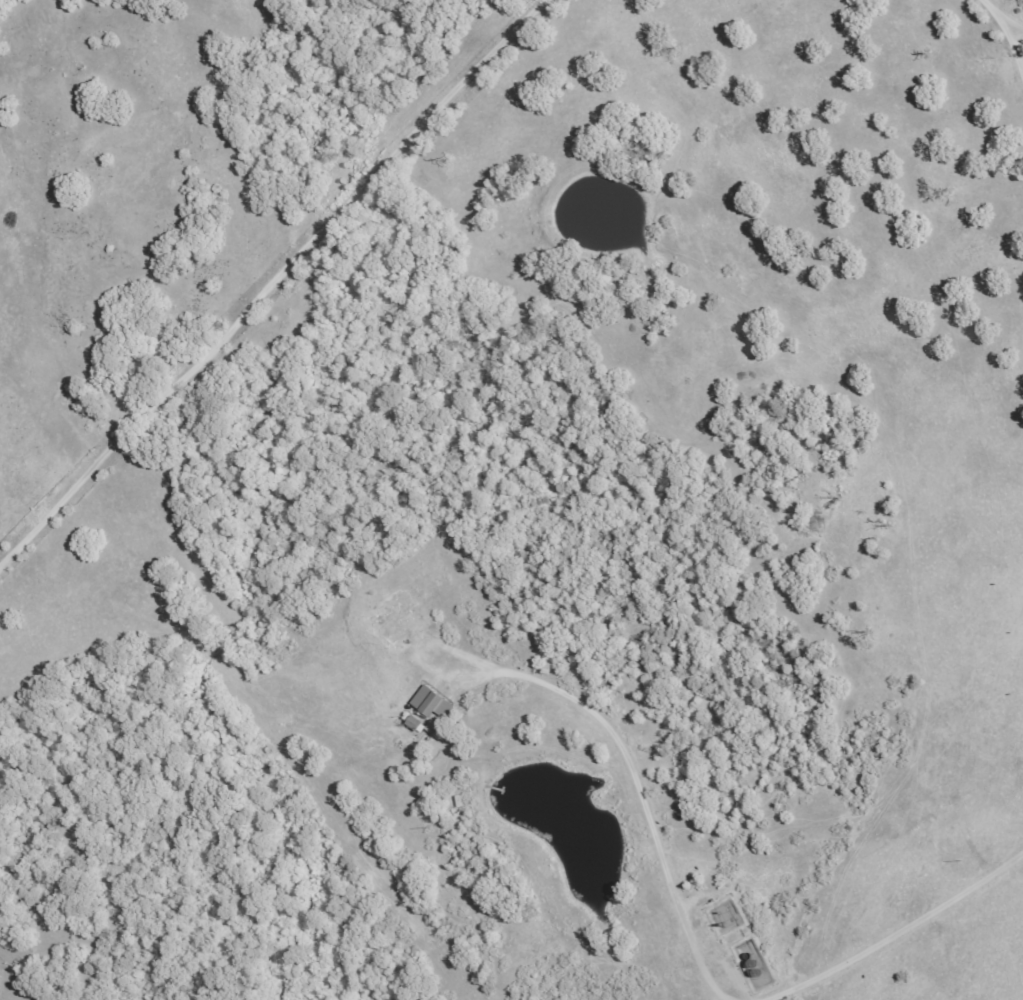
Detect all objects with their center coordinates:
road: (11, 7)
road: (996, 14)
road: (275, 282)
building: (431, 703)
building: (422, 725)

